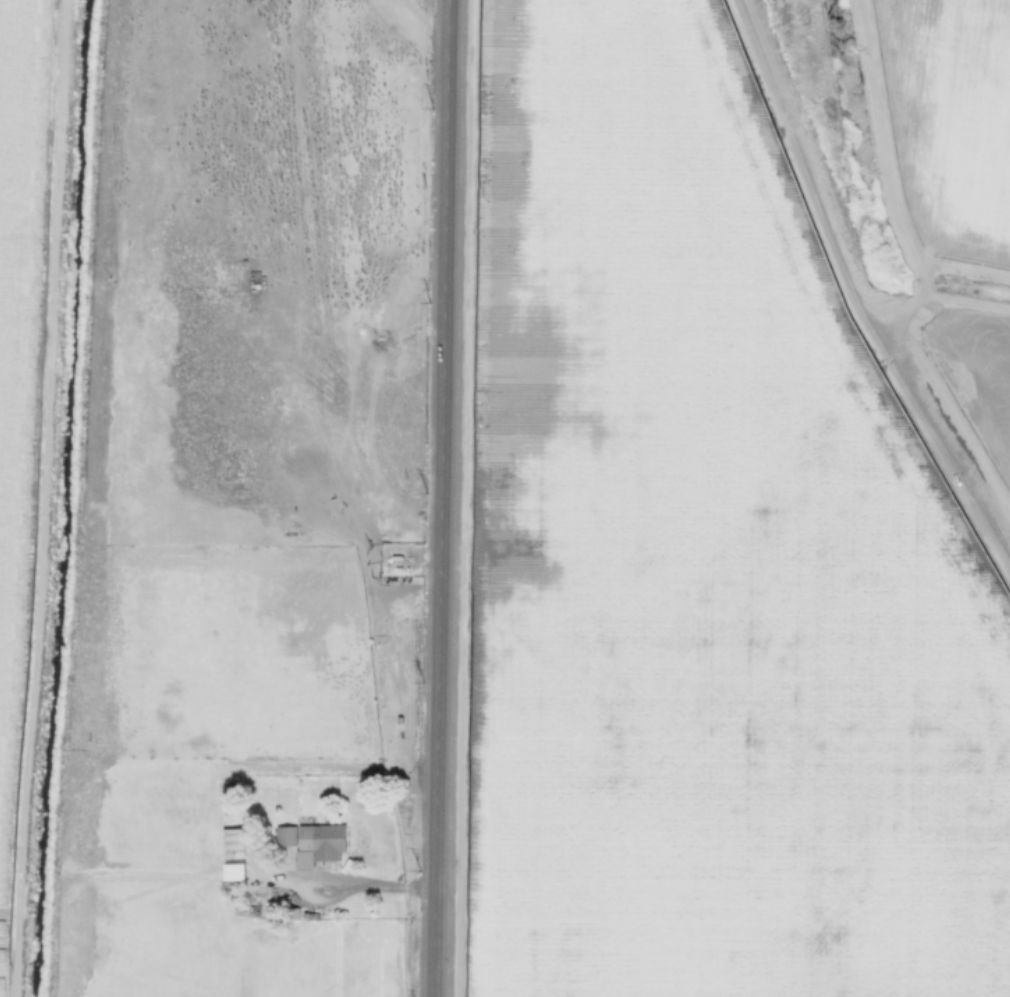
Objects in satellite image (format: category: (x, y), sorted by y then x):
road: (884, 138)
road: (804, 180)
road: (20, 265)
road: (923, 274)
road: (908, 393)
road: (29, 498)
road: (445, 498)
building: (312, 841)
road: (324, 878)
building: (233, 900)
silo: (233, 900)
building: (292, 913)
building: (311, 916)

